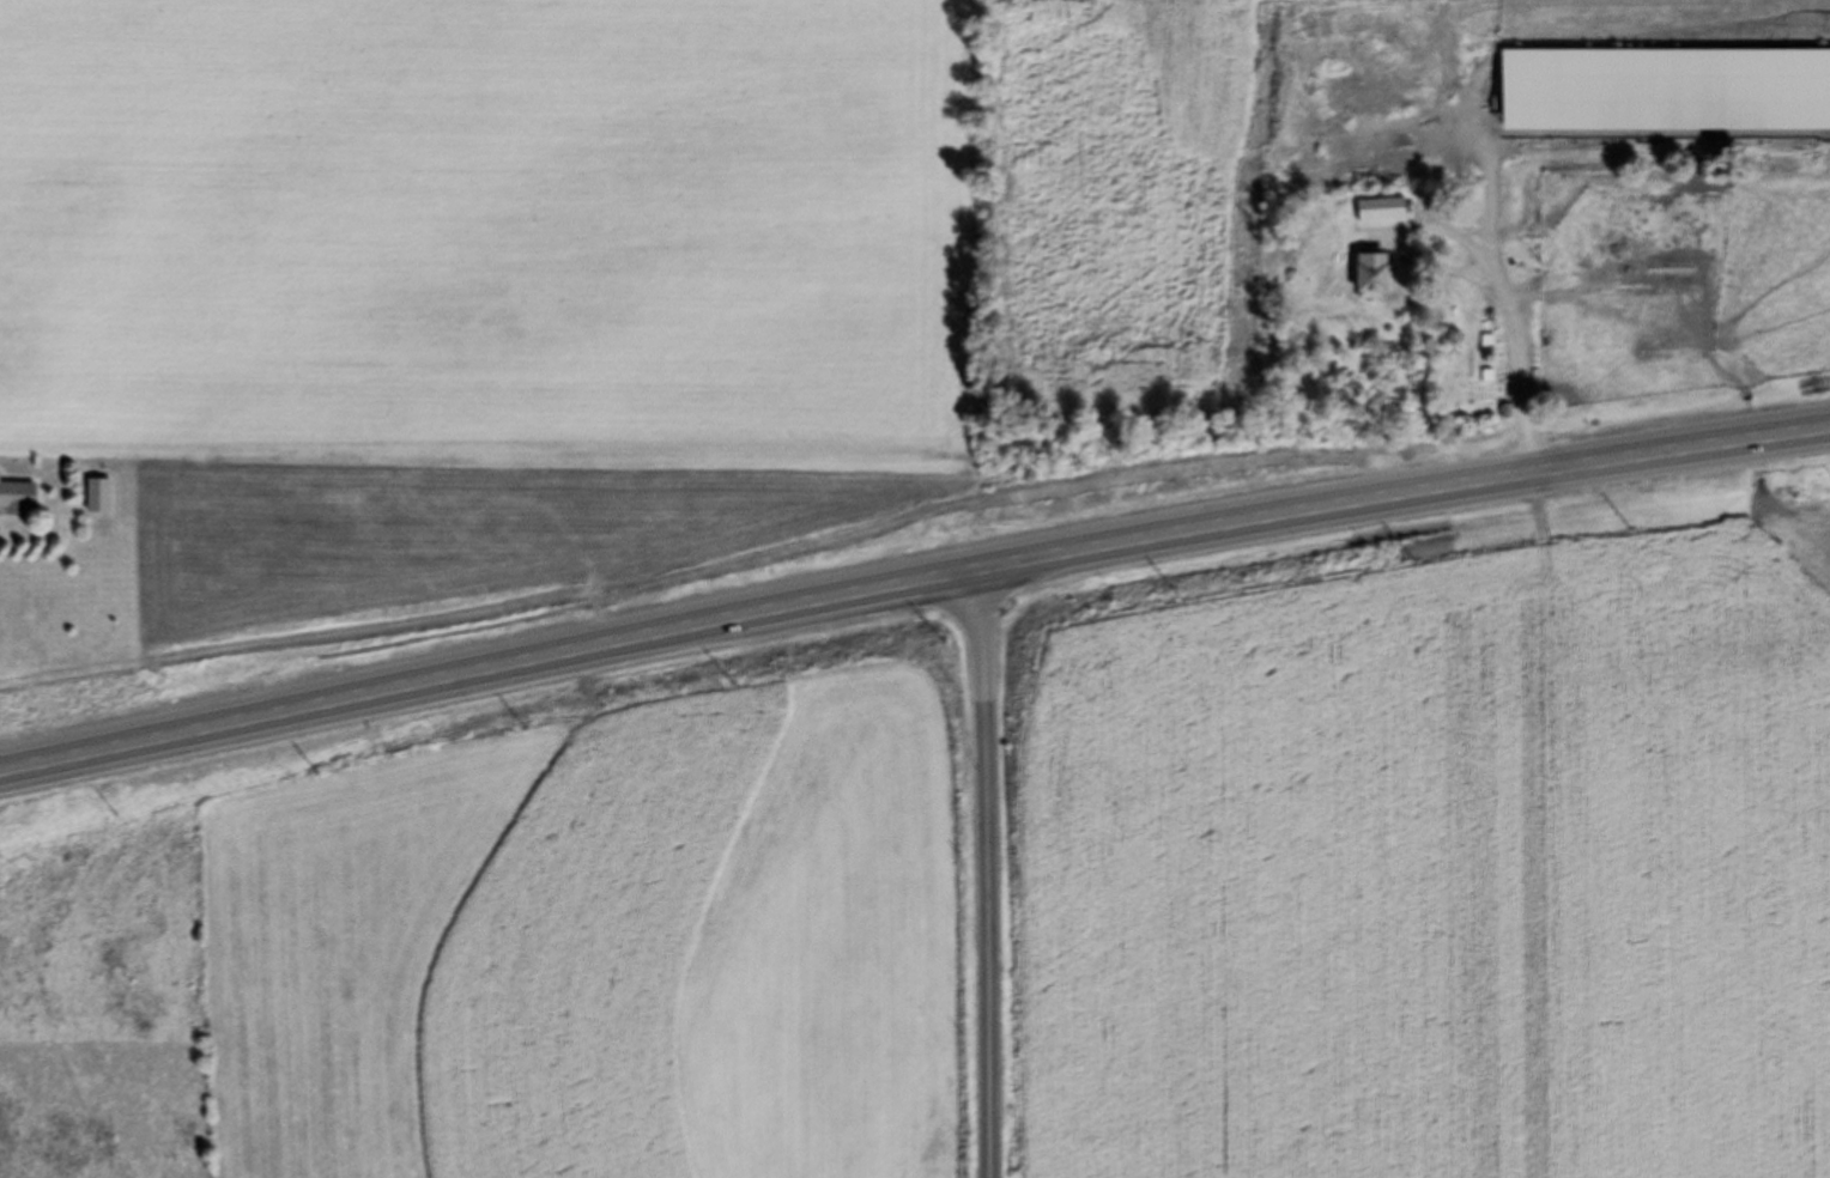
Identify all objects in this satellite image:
building: (1659, 212)
road: (1490, 275)
building: (1376, 278)
building: (18, 496)
road: (911, 588)
road: (982, 876)

